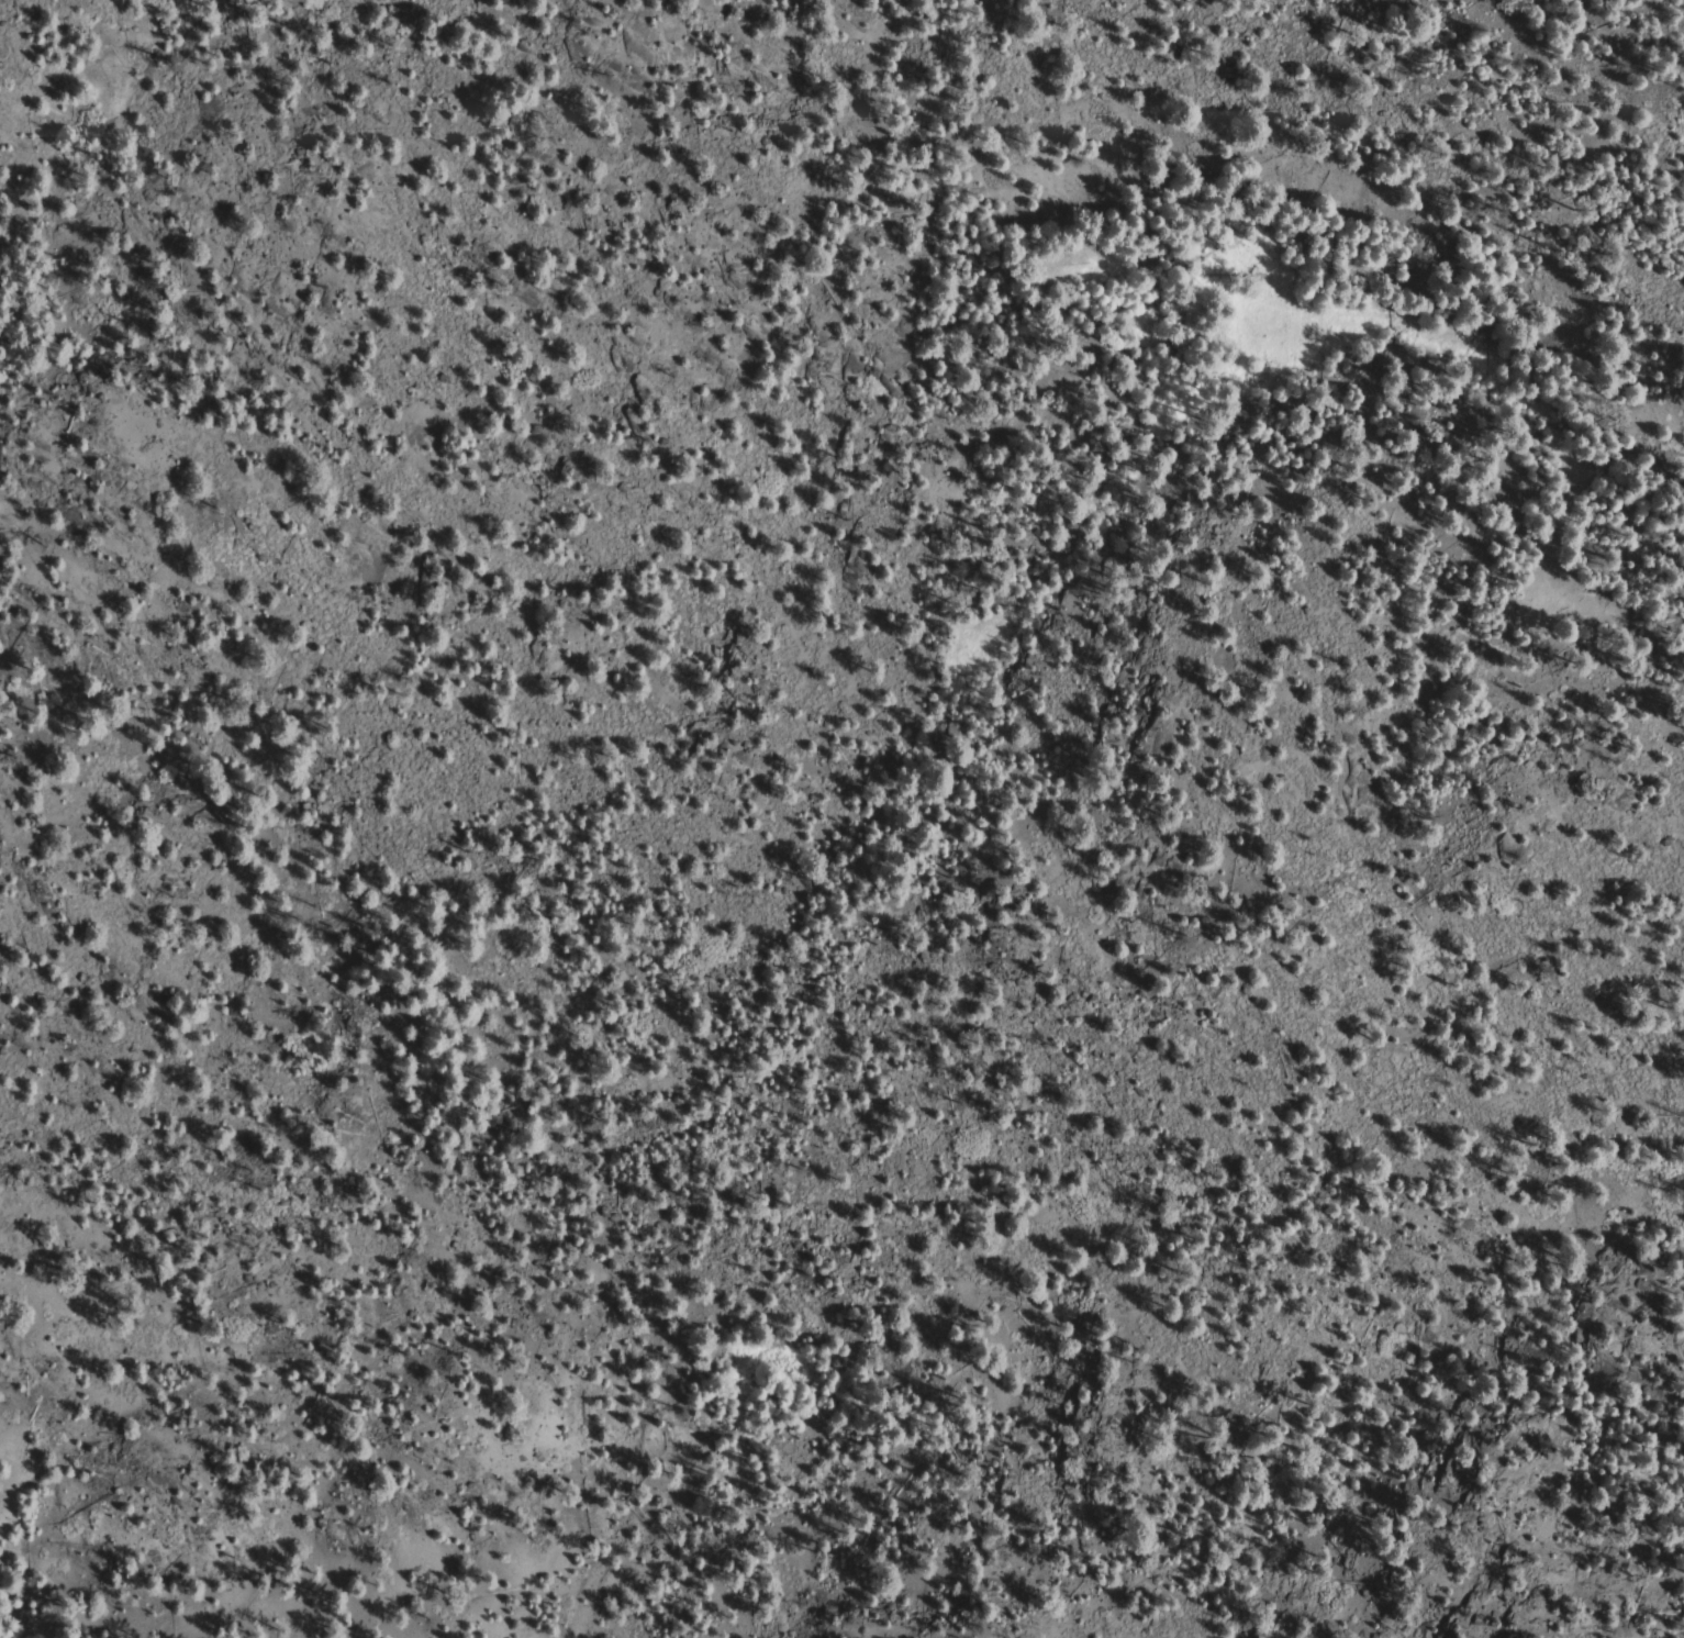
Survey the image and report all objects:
road: (49, 1608)

